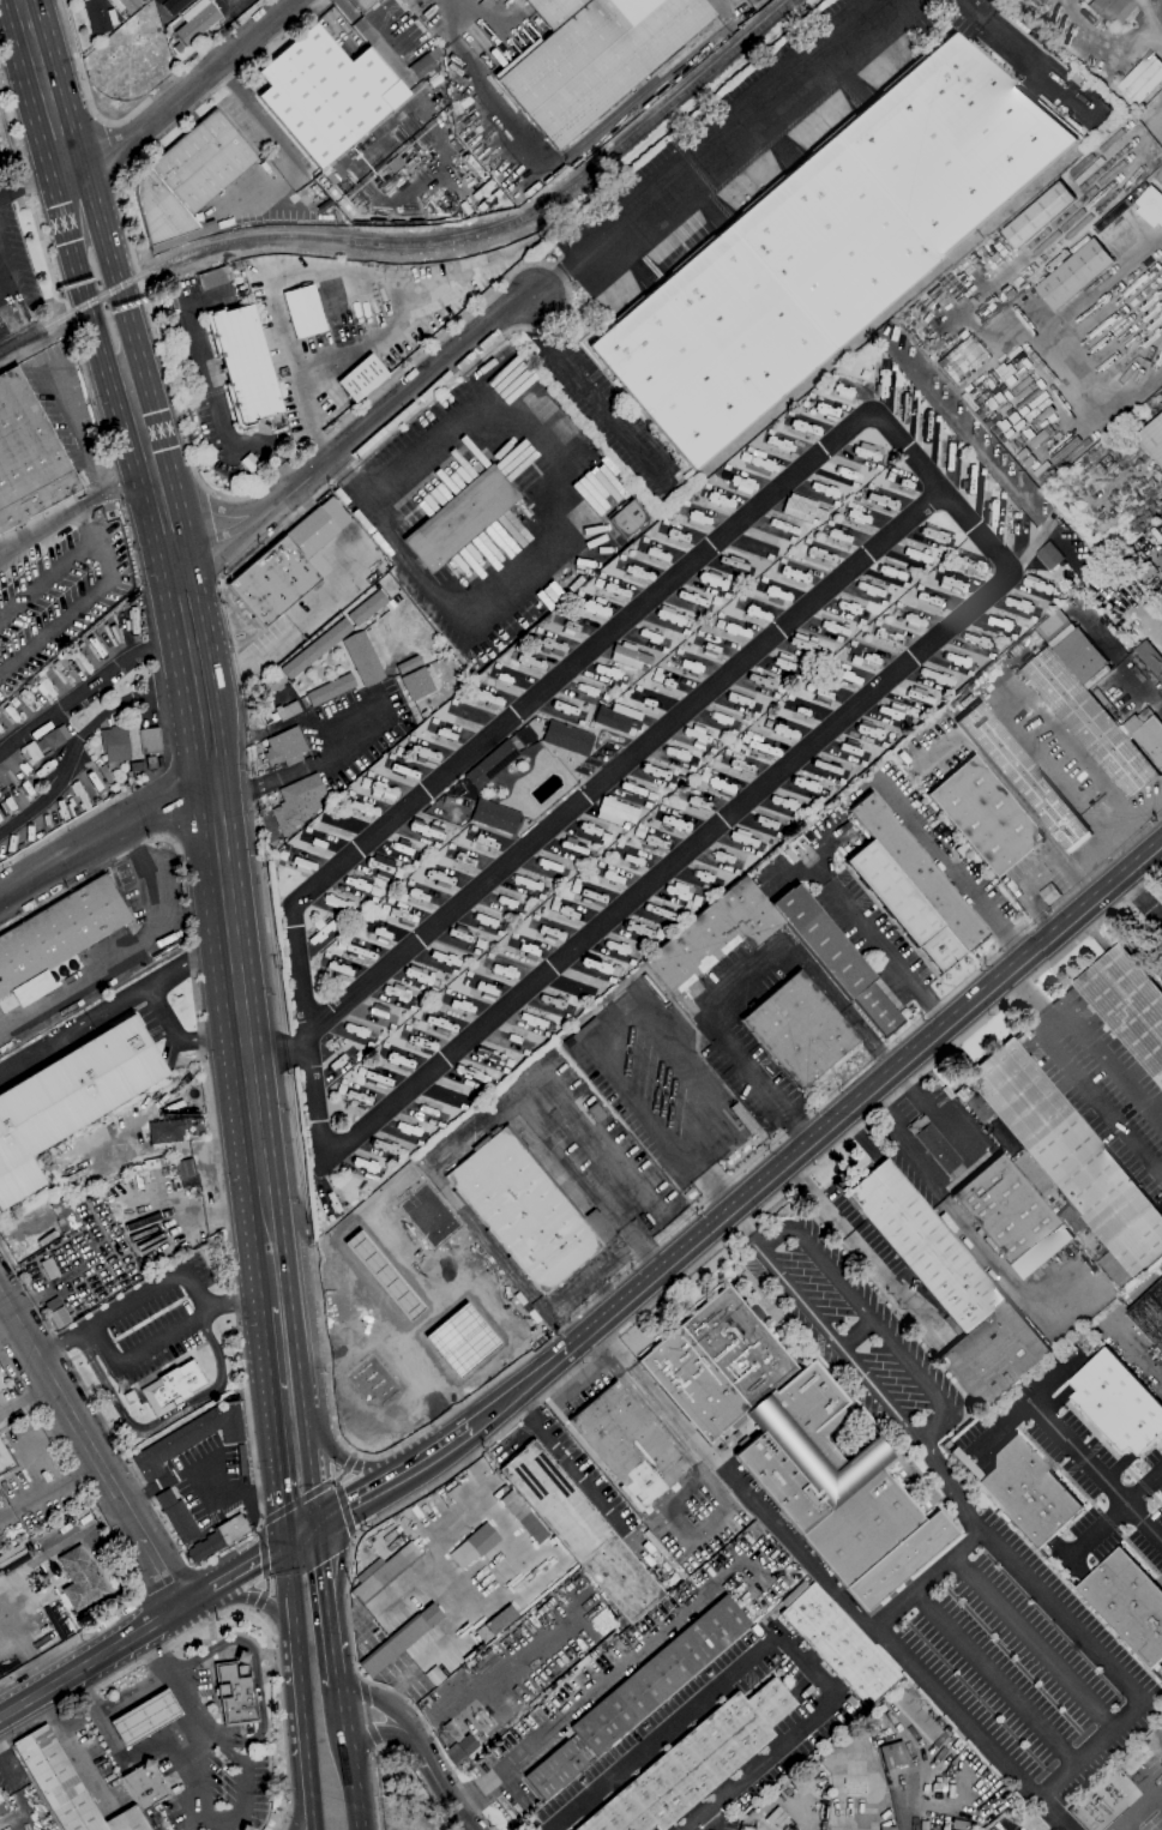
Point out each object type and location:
road: (28, 4)
building: (362, 4)
building: (125, 5)
building: (174, 5)
road: (720, 7)
building: (1112, 10)
building: (98, 16)
building: (197, 20)
road: (384, 52)
road: (1019, 53)
road: (17, 54)
building: (594, 56)
building: (425, 67)
building: (1142, 79)
road: (85, 88)
road: (482, 89)
road: (188, 92)
building: (326, 94)
road: (639, 97)
road: (183, 118)
road: (710, 148)
road: (109, 150)
road: (288, 153)
building: (396, 164)
road: (34, 181)
building: (188, 181)
road: (32, 193)
building: (1150, 206)
building: (1038, 215)
railway: (423, 245)
building: (829, 247)
building: (1074, 273)
road: (311, 275)
road: (98, 276)
building: (212, 278)
building: (303, 311)
building: (245, 363)
building: (362, 378)
building: (431, 389)
road: (584, 395)
road: (219, 402)
road: (70, 414)
road: (339, 427)
road: (361, 433)
building: (1152, 439)
building: (368, 443)
building: (28, 456)
road: (989, 458)
building: (249, 463)
road: (218, 498)
road: (305, 499)
building: (802, 508)
building: (460, 518)
building: (627, 518)
road: (56, 520)
building: (318, 526)
road: (83, 528)
road: (554, 528)
building: (839, 535)
road: (218, 541)
road: (1064, 547)
road: (106, 555)
building: (1048, 555)
road: (231, 570)
road: (43, 577)
building: (272, 582)
road: (218, 583)
building: (1161, 603)
building: (367, 608)
road: (186, 612)
road: (1160, 615)
road: (58, 625)
building: (317, 649)
building: (631, 656)
building: (362, 658)
building: (1150, 658)
building: (608, 672)
building: (425, 682)
building: (272, 685)
road: (1154, 686)
road: (90, 687)
building: (330, 690)
road: (1011, 702)
building: (287, 710)
building: (800, 710)
building: (11, 712)
building: (619, 718)
building: (1088, 723)
parking lot: (355, 729)
building: (1146, 734)
road: (84, 736)
building: (54, 738)
building: (568, 739)
building: (127, 744)
building: (285, 747)
building: (34, 752)
building: (151, 762)
road: (309, 764)
road: (626, 764)
building: (492, 765)
building: (137, 766)
building: (106, 773)
building: (1023, 778)
building: (80, 795)
building: (297, 802)
building: (616, 812)
building: (985, 815)
building: (495, 817)
road: (1132, 817)
road: (108, 835)
road: (1104, 841)
building: (962, 850)
road: (955, 868)
building: (917, 872)
road: (1037, 874)
building: (1049, 893)
road: (1140, 898)
building: (904, 905)
building: (59, 932)
building: (323, 933)
building: (714, 934)
road: (233, 940)
road: (889, 952)
road: (122, 955)
building: (836, 958)
building: (632, 963)
road: (743, 976)
road: (962, 985)
road: (1031, 1000)
road: (157, 1003)
building: (1126, 1006)
road: (626, 1015)
road: (82, 1021)
building: (534, 1021)
building: (799, 1029)
road: (279, 1058)
road: (1110, 1063)
road: (528, 1086)
parking lot: (1101, 1086)
building: (68, 1098)
road: (1097, 1101)
road: (855, 1103)
road: (318, 1106)
building: (165, 1132)
road: (596, 1134)
road: (951, 1134)
road: (470, 1136)
building: (935, 1145)
building: (1066, 1156)
building: (155, 1163)
road: (218, 1166)
building: (186, 1168)
road: (711, 1181)
road: (586, 1185)
building: (525, 1209)
building: (64, 1216)
building: (359, 1216)
building: (1011, 1216)
building: (330, 1217)
road: (752, 1226)
road: (969, 1229)
building: (47, 1238)
road: (865, 1252)
road: (255, 1256)
road: (500, 1258)
building: (49, 1269)
road: (595, 1281)
building: (950, 1287)
road: (158, 1288)
road: (502, 1289)
building: (53, 1304)
road: (257, 1304)
building: (1149, 1313)
building: (458, 1314)
building: (393, 1316)
gas station: (393, 1316)
building: (59, 1318)
road: (1110, 1320)
road: (630, 1323)
road: (869, 1323)
road: (851, 1336)
road: (60, 1348)
road: (836, 1352)
road: (139, 1353)
road: (297, 1367)
road: (579, 1381)
building: (173, 1387)
road: (1026, 1401)
road: (267, 1402)
road: (644, 1403)
building: (1118, 1403)
road: (163, 1417)
road: (481, 1417)
building: (740, 1422)
road: (44, 1423)
building: (783, 1432)
building: (191, 1437)
road: (409, 1438)
road: (582, 1440)
road: (94, 1443)
building: (628, 1445)
road: (348, 1458)
building: (241, 1459)
road: (566, 1459)
building: (6, 1461)
road: (1095, 1471)
parking lot: (206, 1477)
road: (733, 1477)
road: (200, 1481)
road: (378, 1489)
building: (1024, 1491)
road: (312, 1493)
road: (1114, 1512)
building: (523, 1516)
building: (177, 1517)
road: (330, 1518)
road: (281, 1519)
traffic signals: (319, 1525)
building: (580, 1531)
road: (302, 1535)
building: (218, 1537)
road: (692, 1537)
traffic signals: (285, 1546)
building: (466, 1552)
road: (339, 1560)
building: (901, 1560)
road: (247, 1565)
road: (324, 1567)
road: (265, 1570)
road: (289, 1571)
building: (385, 1572)
building: (80, 1579)
road: (199, 1594)
road: (255, 1597)
building: (1127, 1603)
road: (294, 1608)
road: (1060, 1611)
building: (501, 1620)
road: (269, 1623)
road: (212, 1632)
road: (772, 1637)
building: (399, 1639)
road: (881, 1639)
road: (1031, 1641)
road: (333, 1642)
building: (837, 1643)
road: (215, 1649)
building: (241, 1657)
parking lot: (1024, 1659)
road: (94, 1660)
road: (255, 1665)
road: (994, 1677)
building: (657, 1678)
road: (213, 1687)
road: (177, 1688)
building: (235, 1693)
road: (134, 1696)
road: (385, 1704)
road: (574, 1704)
road: (302, 1710)
road: (367, 1714)
building: (915, 1715)
building: (144, 1717)
gas station: (144, 1717)
building: (452, 1730)
road: (379, 1734)
road: (1090, 1747)
road: (348, 1751)
road: (234, 1756)
building: (893, 1756)
building: (457, 1757)
road: (121, 1758)
road: (197, 1758)
building: (696, 1762)
road: (125, 1768)
building: (554, 1770)
road: (373, 1778)
building: (66, 1786)
building: (144, 1786)
road: (442, 1787)
road: (136, 1790)
road: (1160, 1799)
building: (0, 1800)
building: (1, 1808)
road: (1138, 1813)
road: (302, 1814)
road: (312, 1814)
road: (204, 1816)
road: (152, 1819)
building: (779, 1819)
road: (193, 1820)
building: (963, 1825)
building: (245, 1828)
building: (887, 1828)

